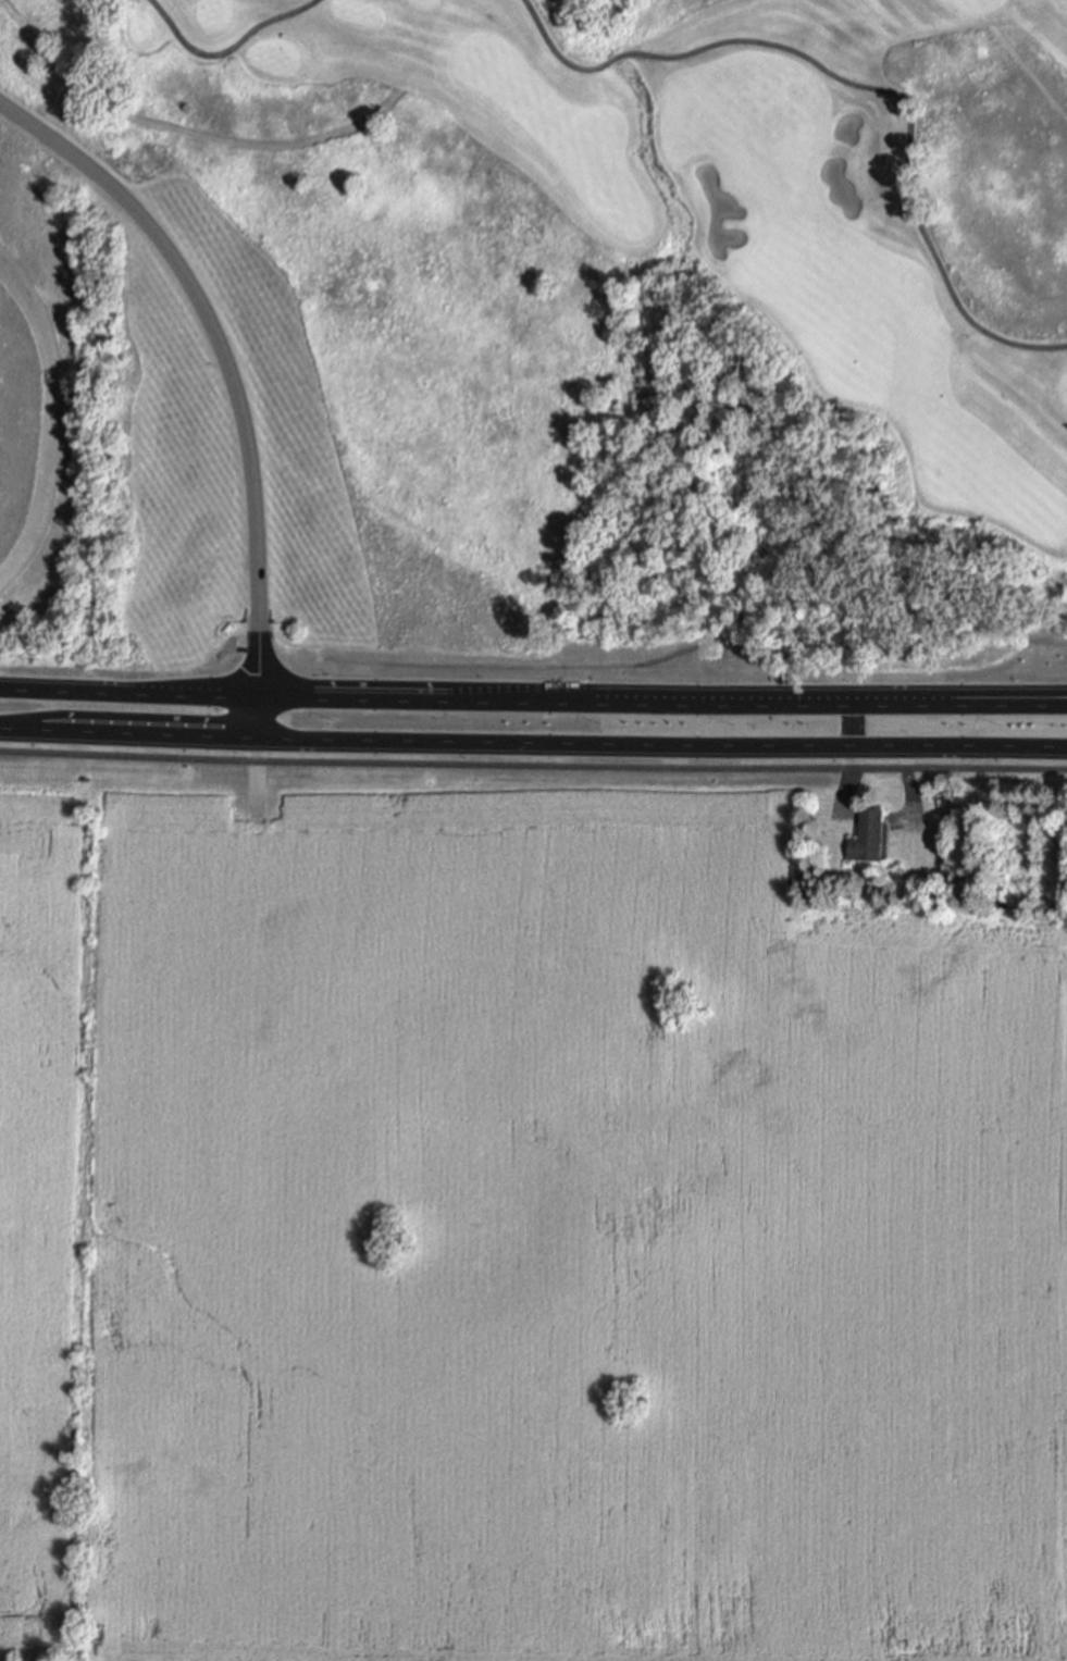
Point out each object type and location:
road: (554, 48)
road: (226, 49)
road: (611, 60)
road: (908, 120)
park: (576, 324)
road: (221, 354)
track: (52, 401)
road: (49, 419)
road: (127, 685)
road: (927, 696)
road: (521, 697)
road: (927, 704)
road: (256, 715)
road: (135, 717)
road: (128, 734)
road: (661, 744)
road: (533, 766)
building: (869, 834)
building: (1001, 902)
crop: (514, 1231)

